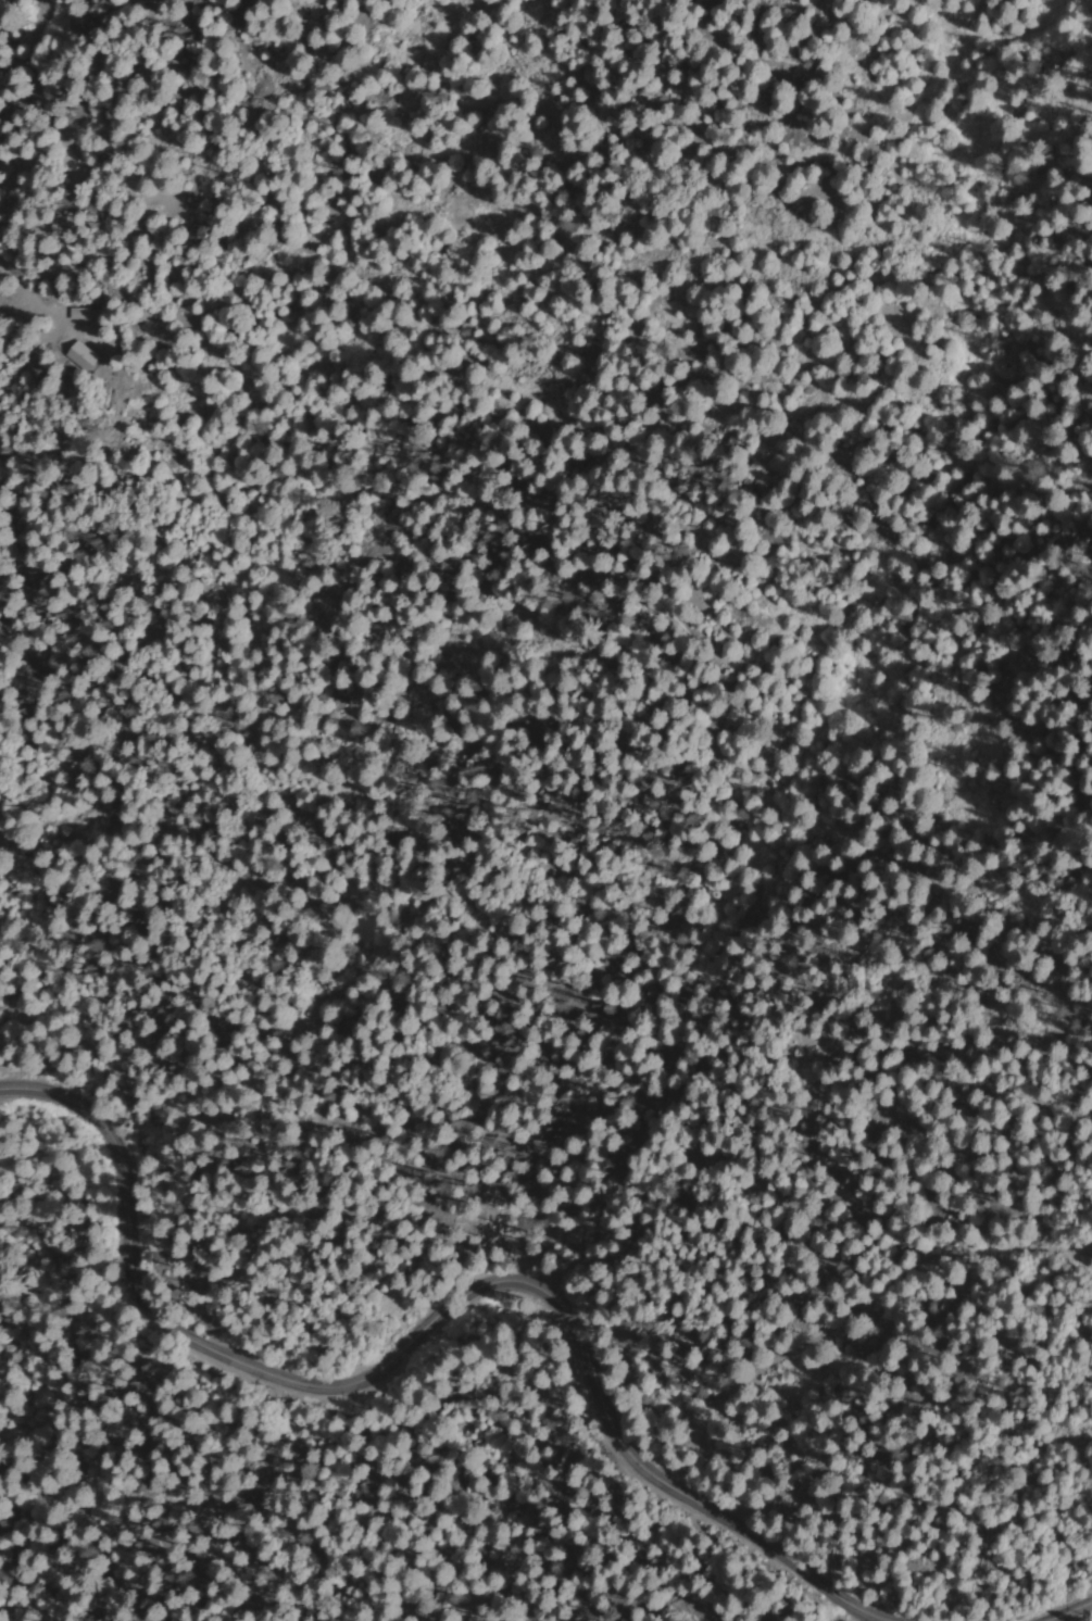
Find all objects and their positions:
building: (79, 314)
road: (428, 1318)
road: (1067, 1610)

